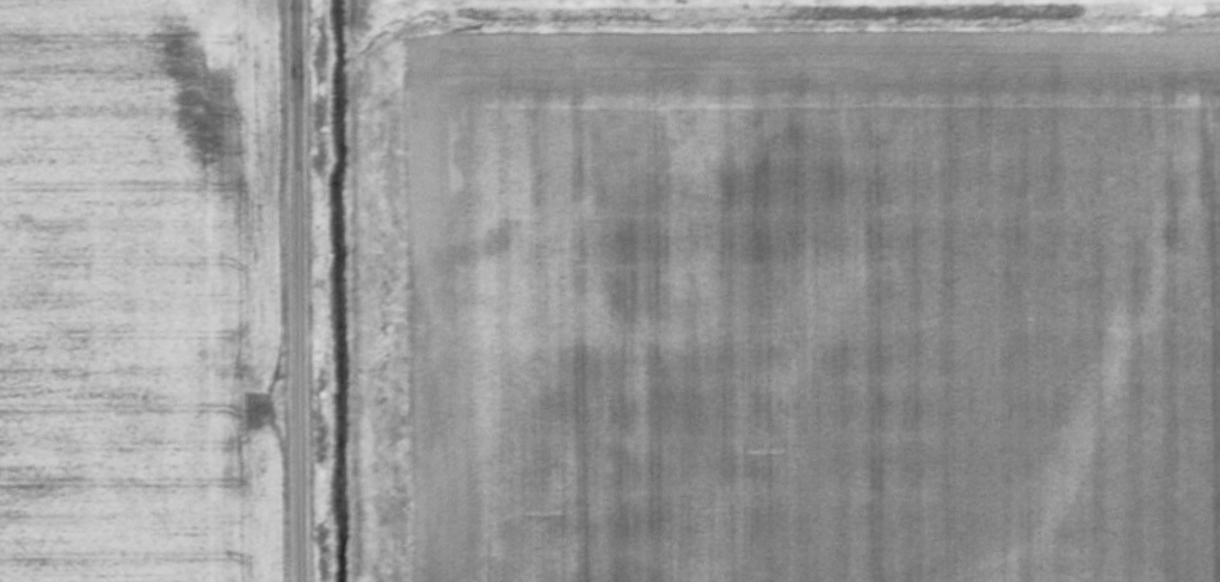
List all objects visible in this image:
road: (307, 291)

